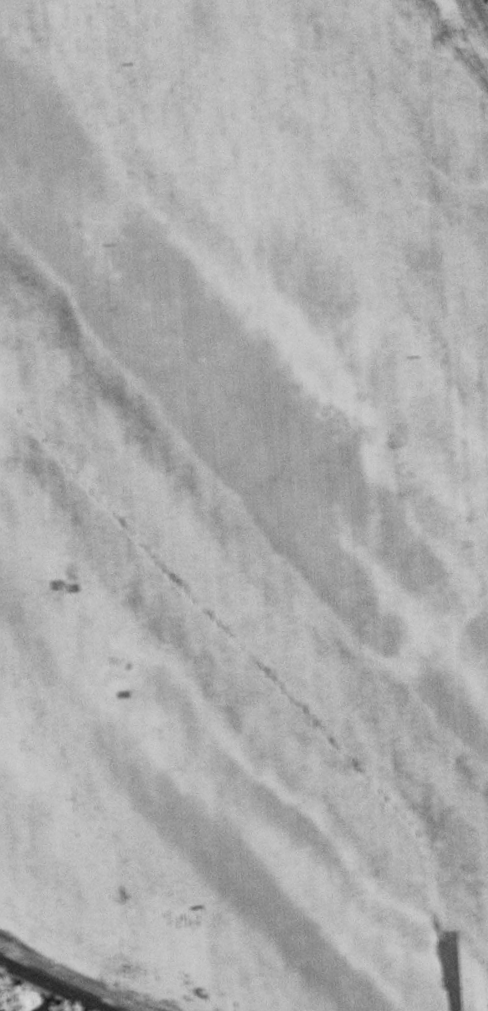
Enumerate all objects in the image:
road: (54, 985)

